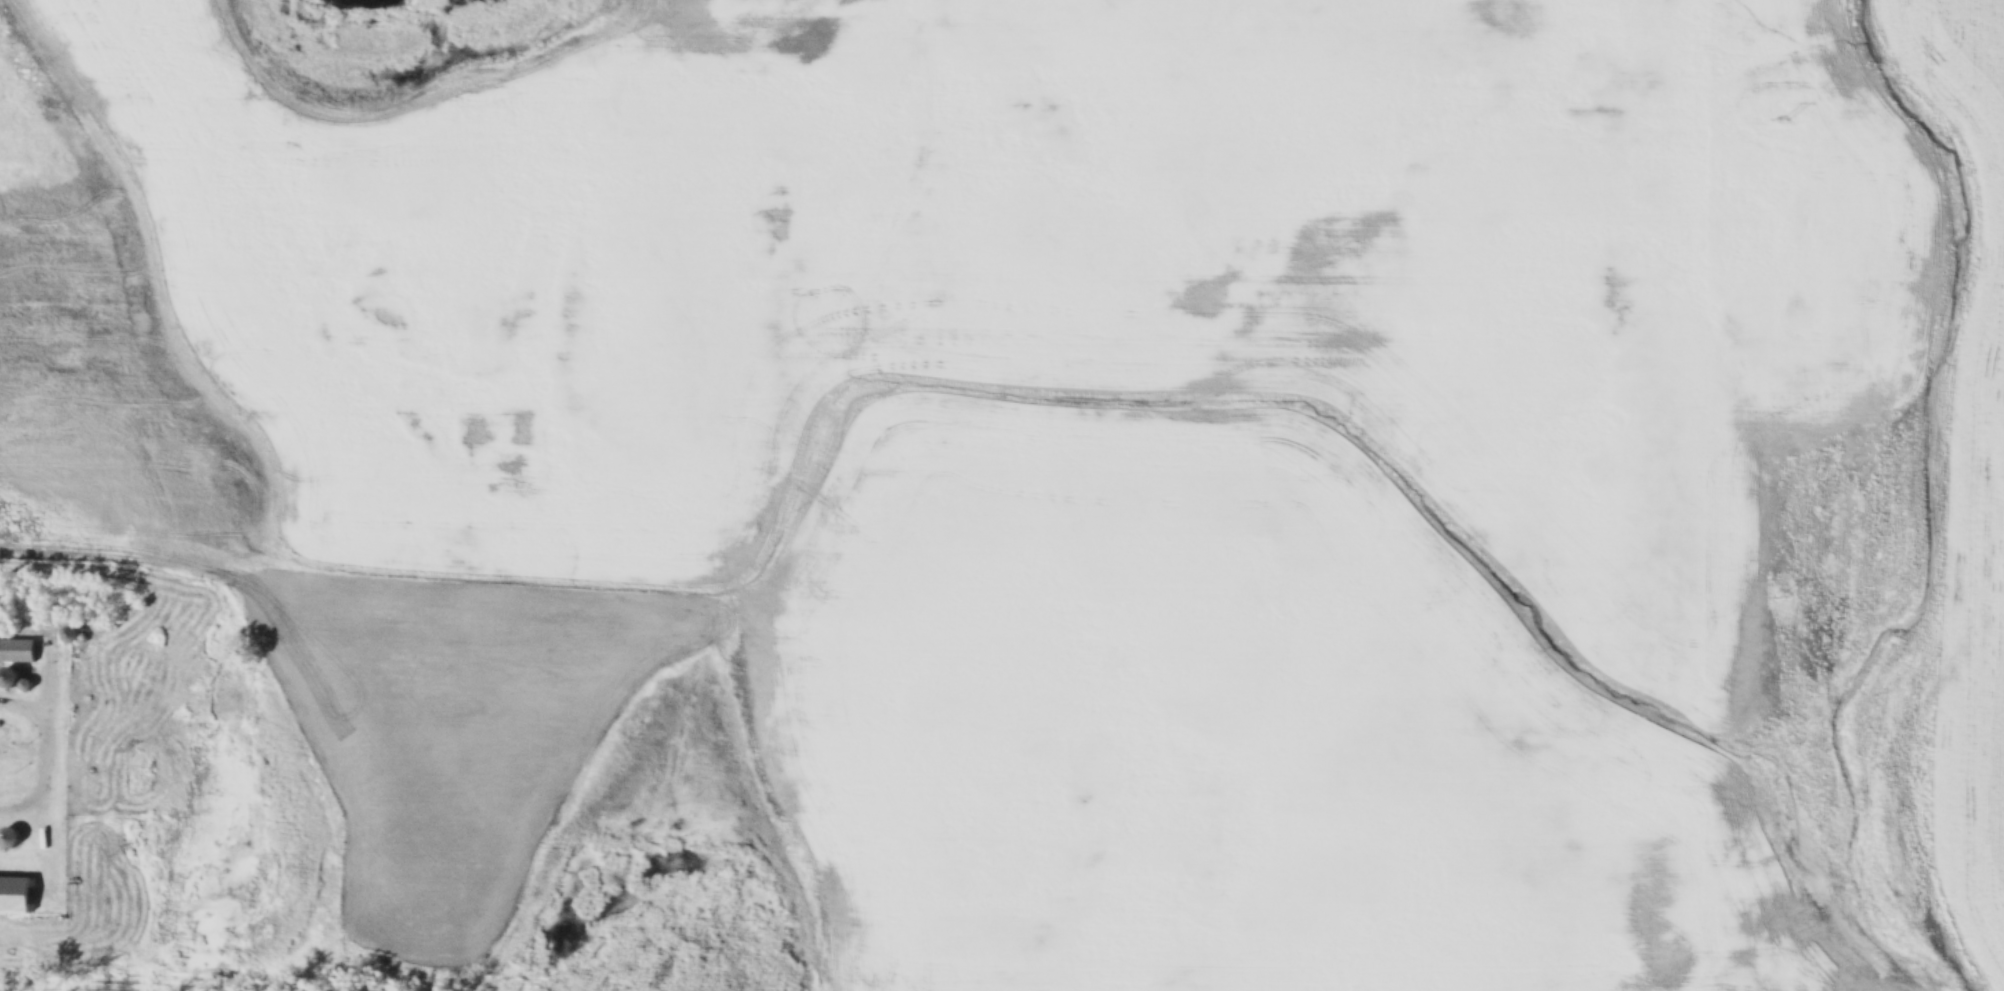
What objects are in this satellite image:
power tower: (1788, 121)
power tower: (1782, 597)
building: (68, 635)
building: (17, 651)
building: (119, 667)
building: (10, 678)
road: (34, 745)
building: (73, 767)
building: (75, 802)
building: (45, 819)
building: (10, 836)

